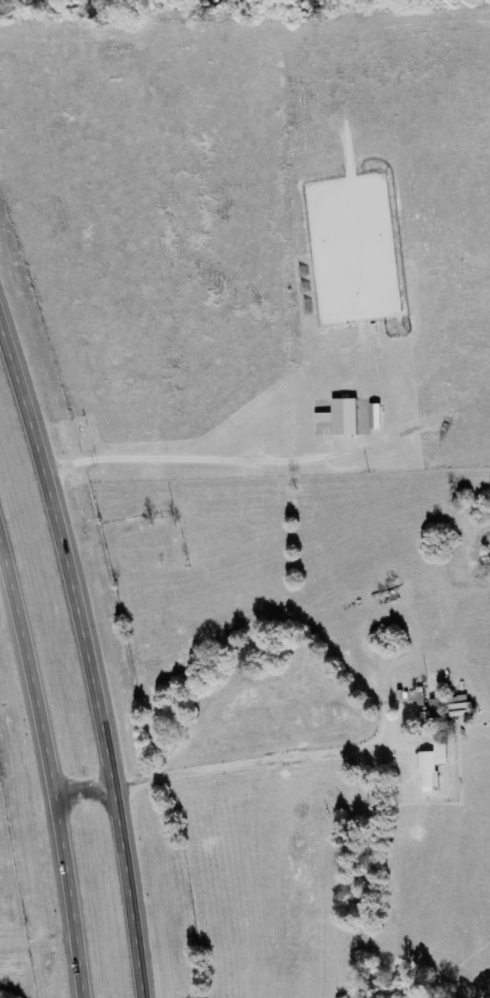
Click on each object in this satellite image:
road: (151, 315)
building: (342, 418)
building: (373, 423)
road: (91, 645)
building: (416, 698)
building: (447, 709)
road: (47, 760)
building: (431, 767)

